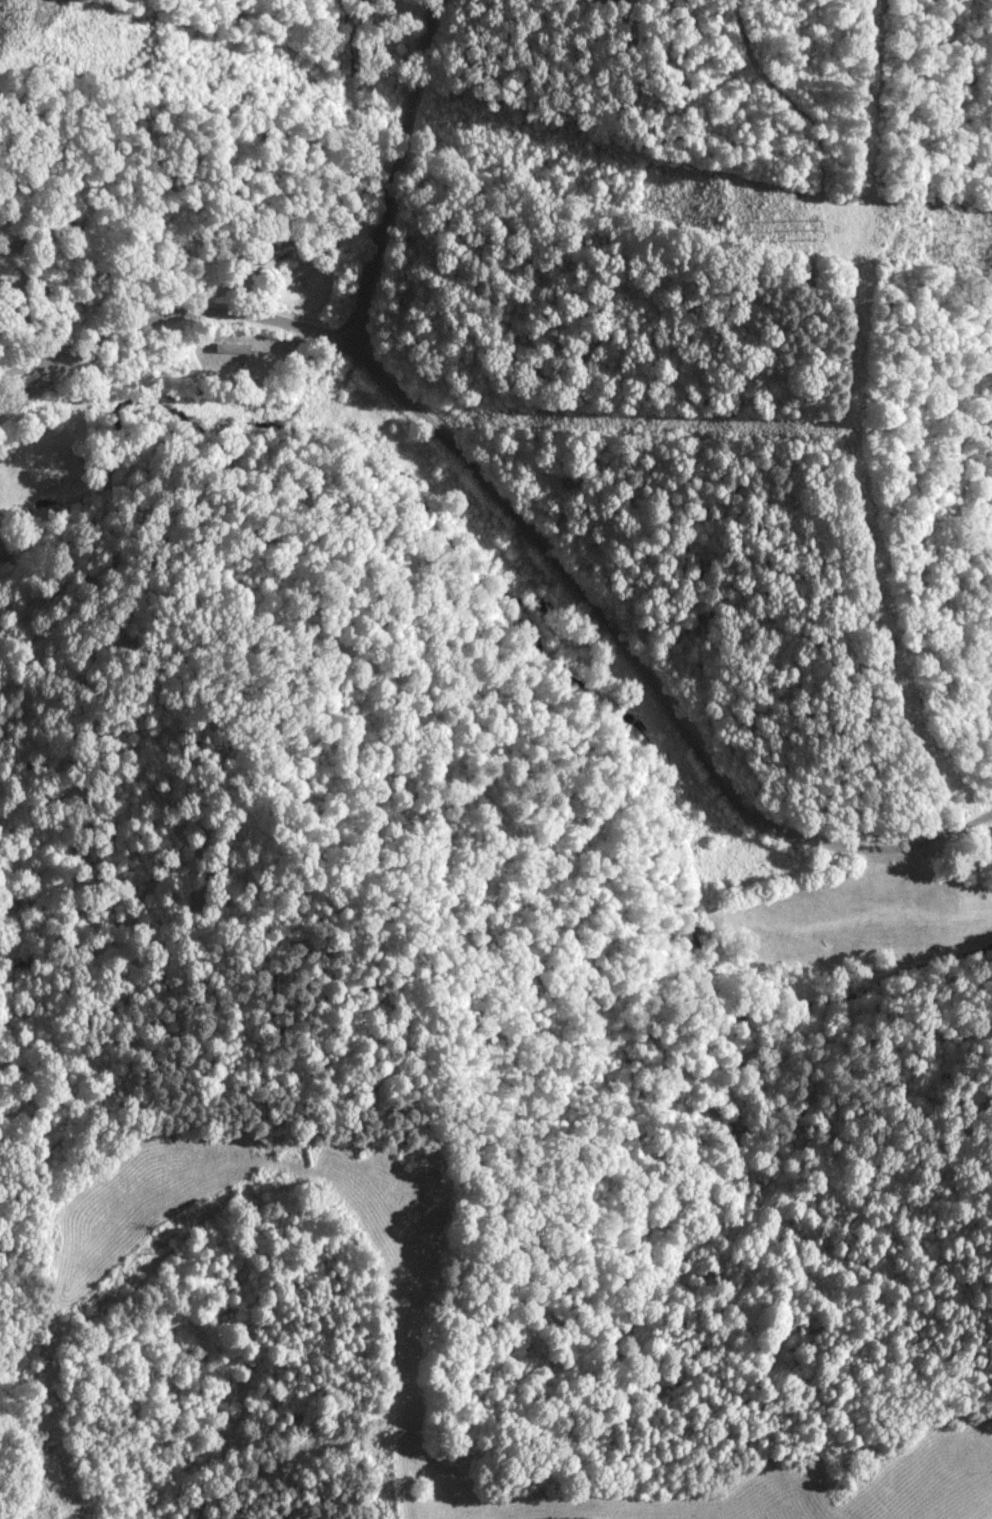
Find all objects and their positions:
power tower: (27, 20)
road: (419, 164)
power tower: (818, 231)
building: (277, 253)
road: (516, 517)

